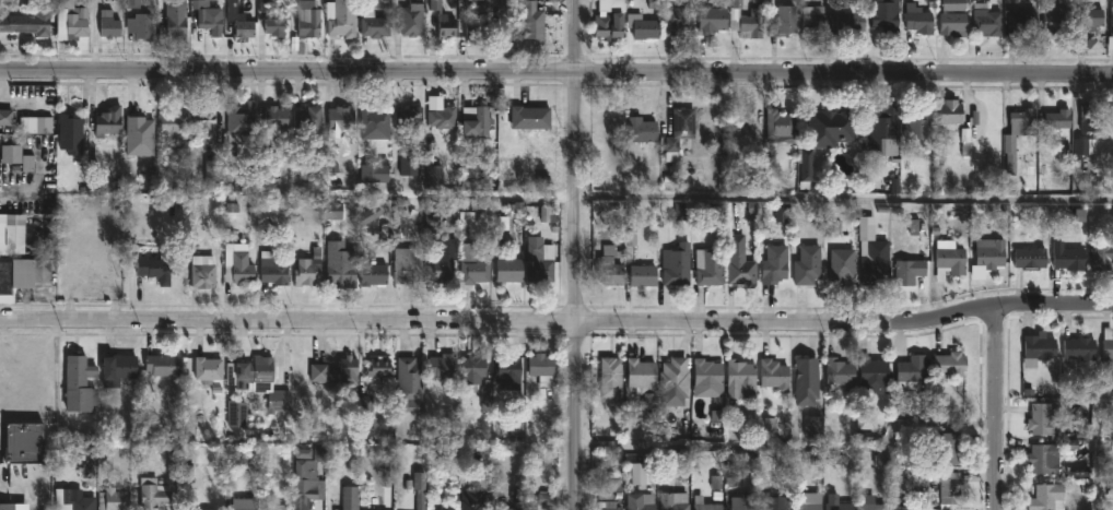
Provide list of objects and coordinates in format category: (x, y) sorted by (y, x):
building: (199, 0)
building: (953, 5)
building: (886, 15)
building: (1054, 16)
building: (1112, 17)
building: (341, 19)
building: (413, 19)
building: (610, 19)
building: (679, 19)
building: (713, 19)
building: (816, 19)
building: (919, 19)
building: (72, 20)
building: (272, 20)
building: (987, 20)
building: (1020, 20)
building: (308, 21)
building: (444, 21)
building: (748, 21)
building: (786, 21)
building: (850, 21)
building: (211, 22)
building: (534, 22)
building: (27, 23)
building: (954, 23)
building: (109, 24)
building: (175, 24)
building: (375, 25)
building: (643, 25)
building: (1090, 26)
building: (141, 27)
building: (478, 29)
building: (245, 31)
road: (555, 76)
building: (952, 114)
building: (241, 117)
building: (277, 117)
building: (308, 117)
building: (410, 117)
building: (443, 117)
building: (531, 117)
building: (1093, 117)
building: (5, 119)
building: (340, 119)
building: (1055, 119)
building: (477, 120)
building: (918, 122)
building: (107, 123)
building: (374, 123)
building: (883, 124)
building: (27, 126)
building: (175, 127)
building: (206, 127)
building: (781, 127)
building: (832, 127)
building: (643, 129)
building: (680, 130)
building: (1018, 132)
building: (70, 133)
building: (140, 134)
building: (1083, 146)
building: (10, 155)
building: (409, 164)
building: (807, 166)
building: (213, 171)
building: (375, 173)
road: (415, 192)
road: (844, 200)
building: (12, 233)
building: (874, 251)
building: (993, 253)
road: (576, 254)
building: (1032, 257)
building: (1102, 257)
building: (950, 259)
building: (1069, 260)
building: (540, 261)
building: (740, 262)
building: (678, 264)
building: (776, 264)
building: (844, 264)
building: (408, 265)
building: (473, 265)
building: (610, 265)
building: (809, 265)
building: (341, 266)
building: (711, 266)
building: (239, 269)
building: (156, 270)
building: (273, 270)
building: (444, 270)
building: (511, 270)
building: (911, 271)
building: (307, 272)
building: (204, 274)
building: (374, 274)
building: (23, 275)
building: (645, 275)
road: (558, 321)
building: (1109, 346)
building: (1040, 348)
building: (1082, 348)
building: (163, 365)
building: (444, 366)
building: (950, 366)
building: (379, 367)
building: (119, 368)
building: (209, 369)
building: (543, 369)
building: (475, 370)
building: (875, 370)
building: (337, 371)
building: (511, 372)
building: (843, 373)
building: (775, 375)
building: (910, 376)
building: (643, 378)
building: (677, 378)
building: (710, 378)
building: (741, 379)
building: (808, 380)
building: (259, 381)
building: (611, 382)
building: (80, 383)
building: (411, 384)
road: (998, 410)
building: (237, 414)
building: (1042, 418)
building: (870, 425)
building: (815, 427)
building: (25, 442)
building: (952, 448)
road: (790, 456)
road: (1097, 458)
building: (1045, 459)
building: (86, 463)
building: (645, 473)
building: (308, 486)
building: (952, 486)
building: (421, 489)
building: (154, 494)
building: (1048, 497)
building: (351, 498)
building: (114, 499)
building: (78, 500)
building: (475, 500)
building: (643, 501)
building: (673, 501)
building: (811, 501)
building: (742, 502)
building: (245, 503)
building: (706, 503)
building: (839, 503)
building: (872, 503)
building: (609, 505)
building: (8, 507)
building: (278, 507)
building: (777, 508)
building: (512, 509)

